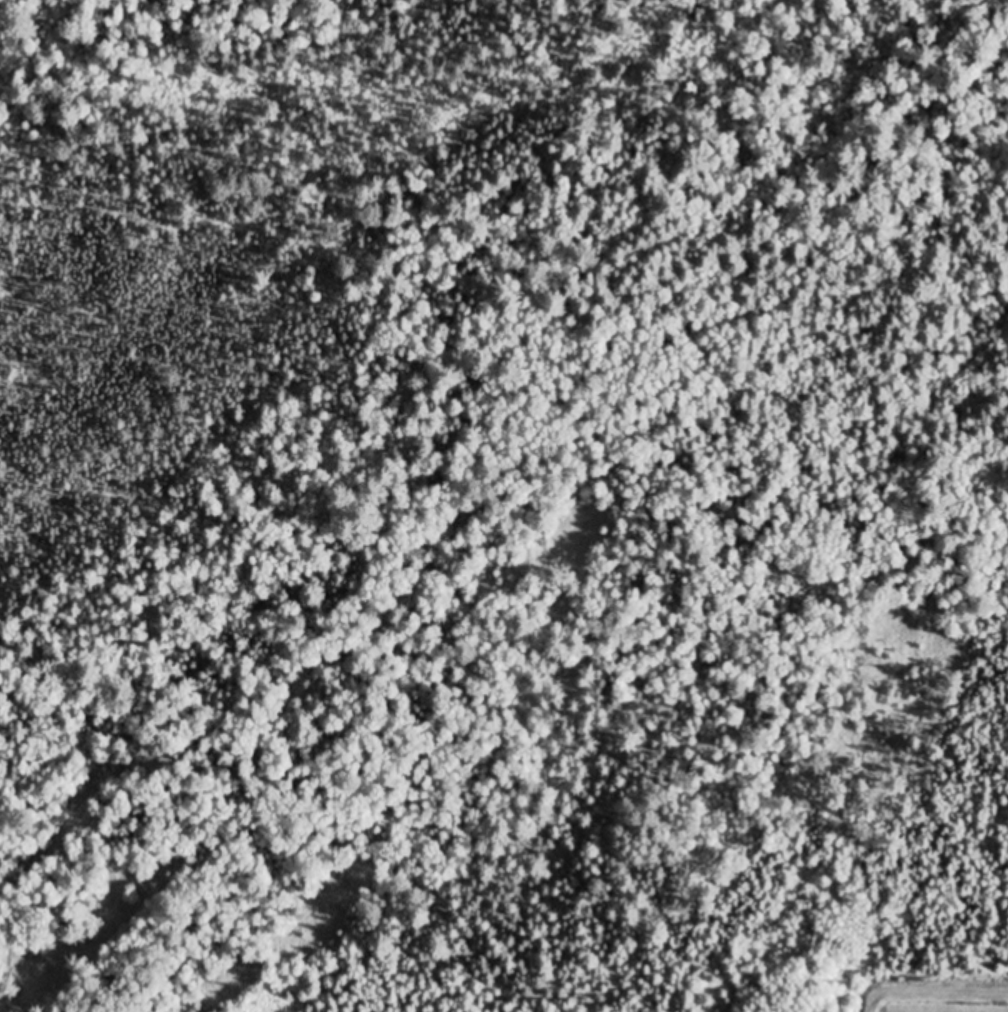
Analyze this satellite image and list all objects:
crop: (944, 1007)

